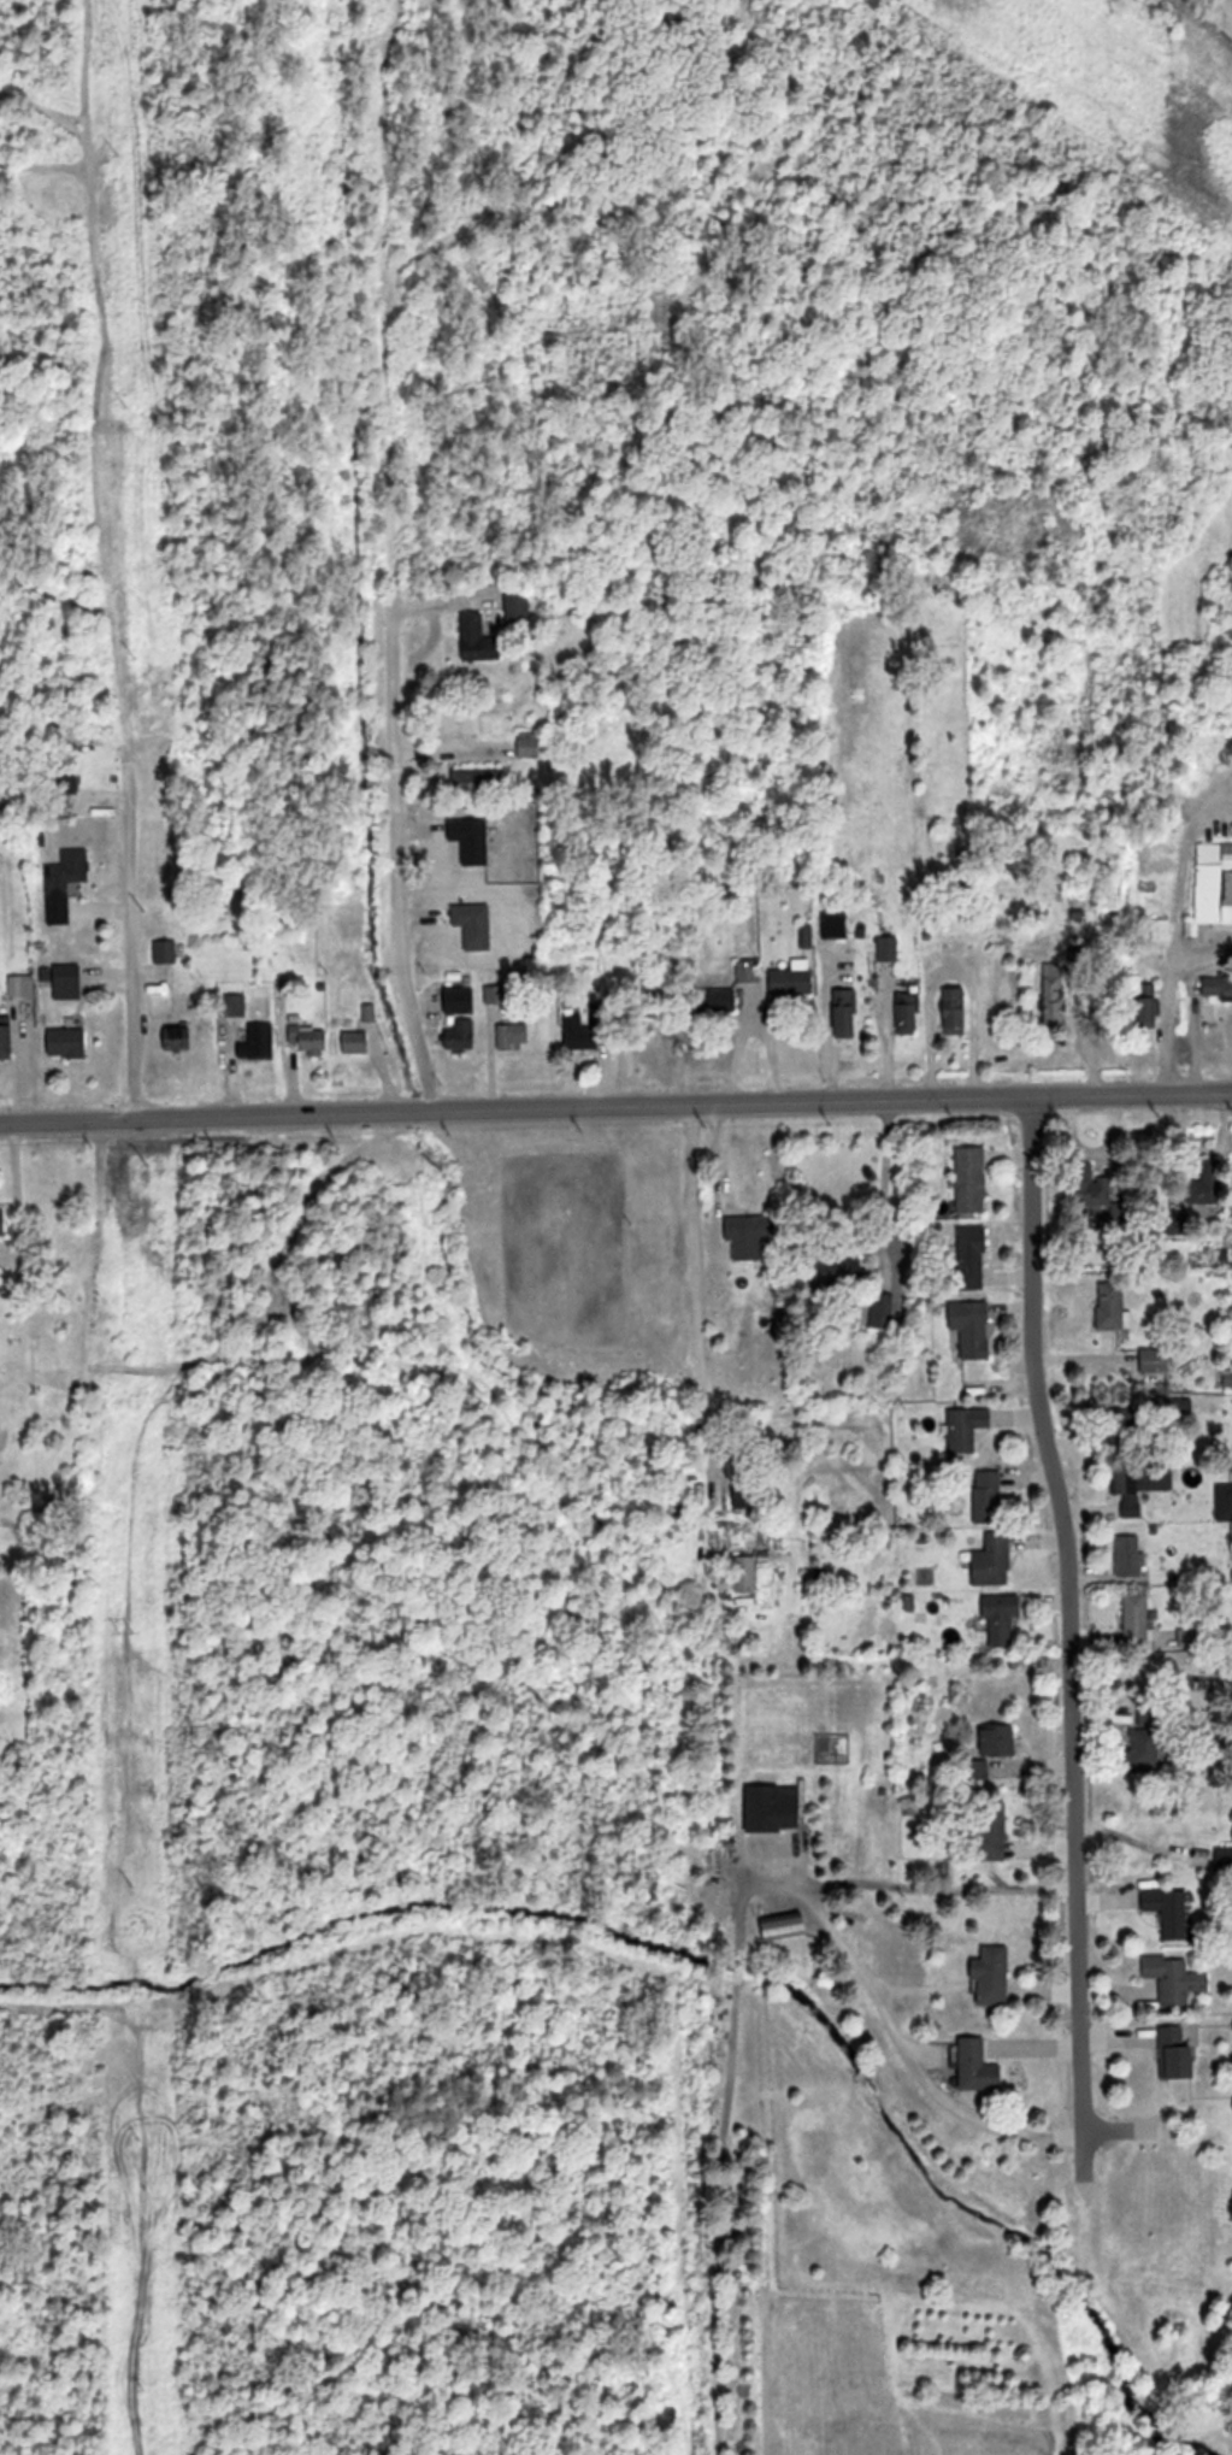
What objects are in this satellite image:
power tower: (118, 154)
power tower: (128, 405)
building: (517, 607)
building: (478, 638)
power tower: (135, 657)
building: (530, 744)
building: (482, 781)
road: (370, 854)
building: (501, 869)
building: (65, 883)
building: (1215, 883)
power tower: (145, 909)
building: (1162, 929)
building: (167, 952)
road: (128, 958)
building: (749, 971)
building: (795, 979)
building: (82, 982)
building: (1218, 985)
building: (1056, 994)
building: (646, 999)
building: (460, 1000)
building: (236, 1005)
building: (1150, 1005)
building: (847, 1012)
building: (956, 1012)
building: (908, 1013)
road: (754, 1025)
building: (585, 1029)
road: (217, 1031)
building: (462, 1034)
building: (514, 1036)
building: (179, 1038)
building: (7, 1041)
building: (261, 1041)
building: (316, 1041)
building: (359, 1041)
building: (70, 1042)
road: (615, 1105)
power tower: (148, 1156)
road: (713, 1168)
building: (973, 1177)
building: (1210, 1179)
road: (880, 1183)
building: (1090, 1185)
building: (4, 1221)
building: (751, 1235)
building: (973, 1253)
building: (839, 1267)
road: (692, 1274)
building: (1113, 1305)
building: (973, 1324)
building: (1155, 1360)
building: (967, 1426)
building: (1126, 1431)
building: (1132, 1490)
building: (989, 1494)
building: (748, 1495)
building: (1130, 1553)
building: (992, 1560)
building: (747, 1574)
building: (1002, 1615)
building: (1136, 1615)
power tower: (126, 1632)
road: (1069, 1648)
building: (1145, 1735)
building: (1001, 1741)
building: (776, 1808)
building: (992, 1831)
power tower: (132, 1884)
road: (908, 1886)
building: (1168, 1907)
building: (788, 1927)
building: (994, 1976)
building: (1174, 1976)
road: (908, 2050)
building: (1178, 2053)
building: (980, 2066)
power tower: (140, 2144)
power tower: (145, 2388)

